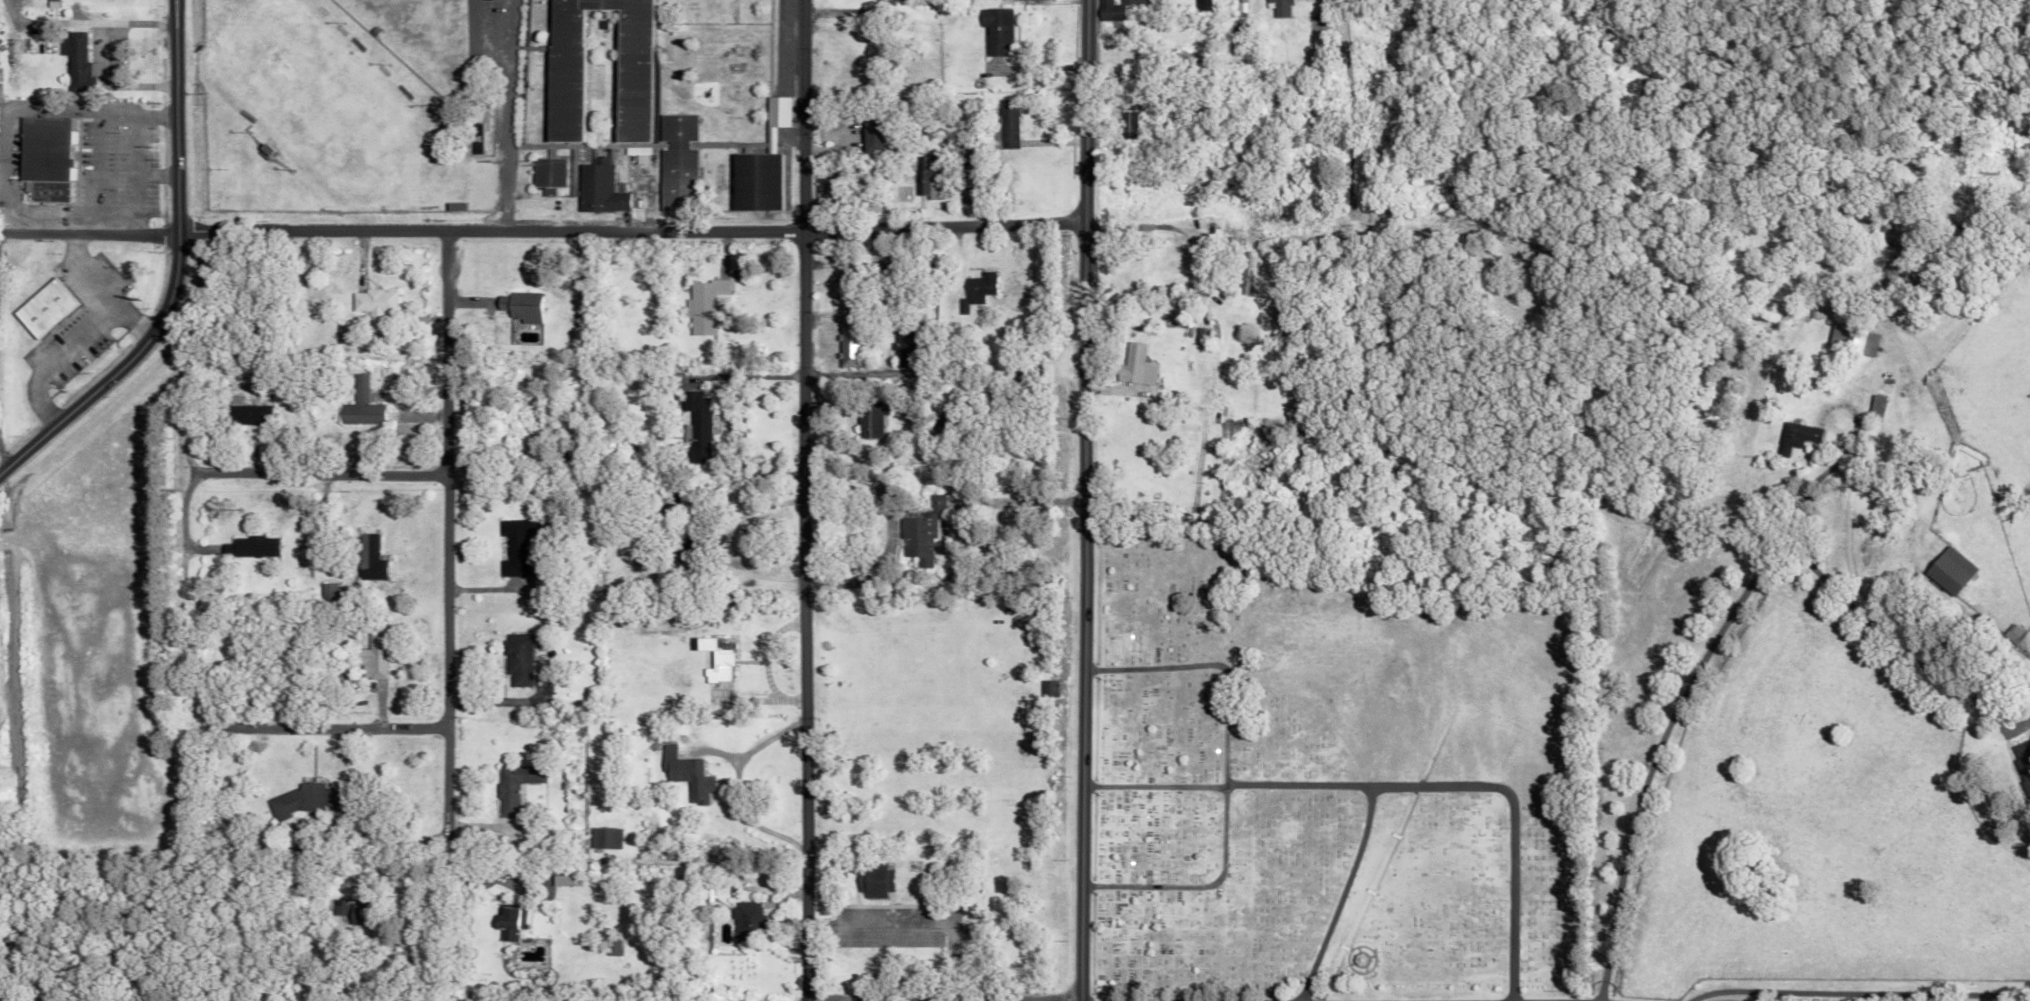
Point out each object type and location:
building: (1034, 0)
building: (1199, 3)
building: (1276, 8)
building: (1113, 9)
building: (994, 29)
road: (112, 53)
building: (76, 63)
building: (630, 75)
road: (27, 107)
road: (506, 115)
building: (774, 115)
building: (1126, 116)
road: (1346, 119)
building: (1006, 123)
building: (869, 135)
building: (478, 140)
building: (46, 157)
building: (676, 162)
road: (99, 172)
building: (547, 174)
road: (136, 175)
building: (755, 181)
building: (599, 188)
building: (453, 206)
road: (806, 232)
road: (87, 234)
road: (172, 271)
building: (845, 274)
building: (1245, 274)
road: (84, 275)
building: (977, 288)
building: (845, 300)
building: (371, 304)
building: (703, 305)
building: (520, 306)
building: (45, 307)
building: (340, 334)
building: (1849, 340)
road: (70, 344)
building: (848, 346)
building: (902, 346)
building: (1134, 365)
building: (359, 405)
building: (244, 412)
building: (870, 416)
building: (696, 424)
building: (1794, 437)
road: (3, 455)
road: (281, 471)
road: (802, 500)
road: (1077, 500)
building: (918, 530)
building: (247, 546)
building: (515, 547)
building: (367, 558)
road: (443, 559)
building: (1948, 570)
road: (1901, 647)
building: (372, 655)
building: (514, 658)
building: (2016, 665)
road: (324, 726)
road: (1673, 740)
building: (2022, 764)
road: (1221, 774)
building: (684, 775)
park: (1328, 778)
road: (1332, 785)
building: (510, 786)
building: (299, 800)
road: (1504, 820)
building: (600, 838)
building: (557, 880)
building: (871, 880)
building: (340, 907)
building: (743, 921)
building: (505, 922)
road: (913, 927)
building: (608, 946)
road: (1856, 990)
road: (607, 997)

